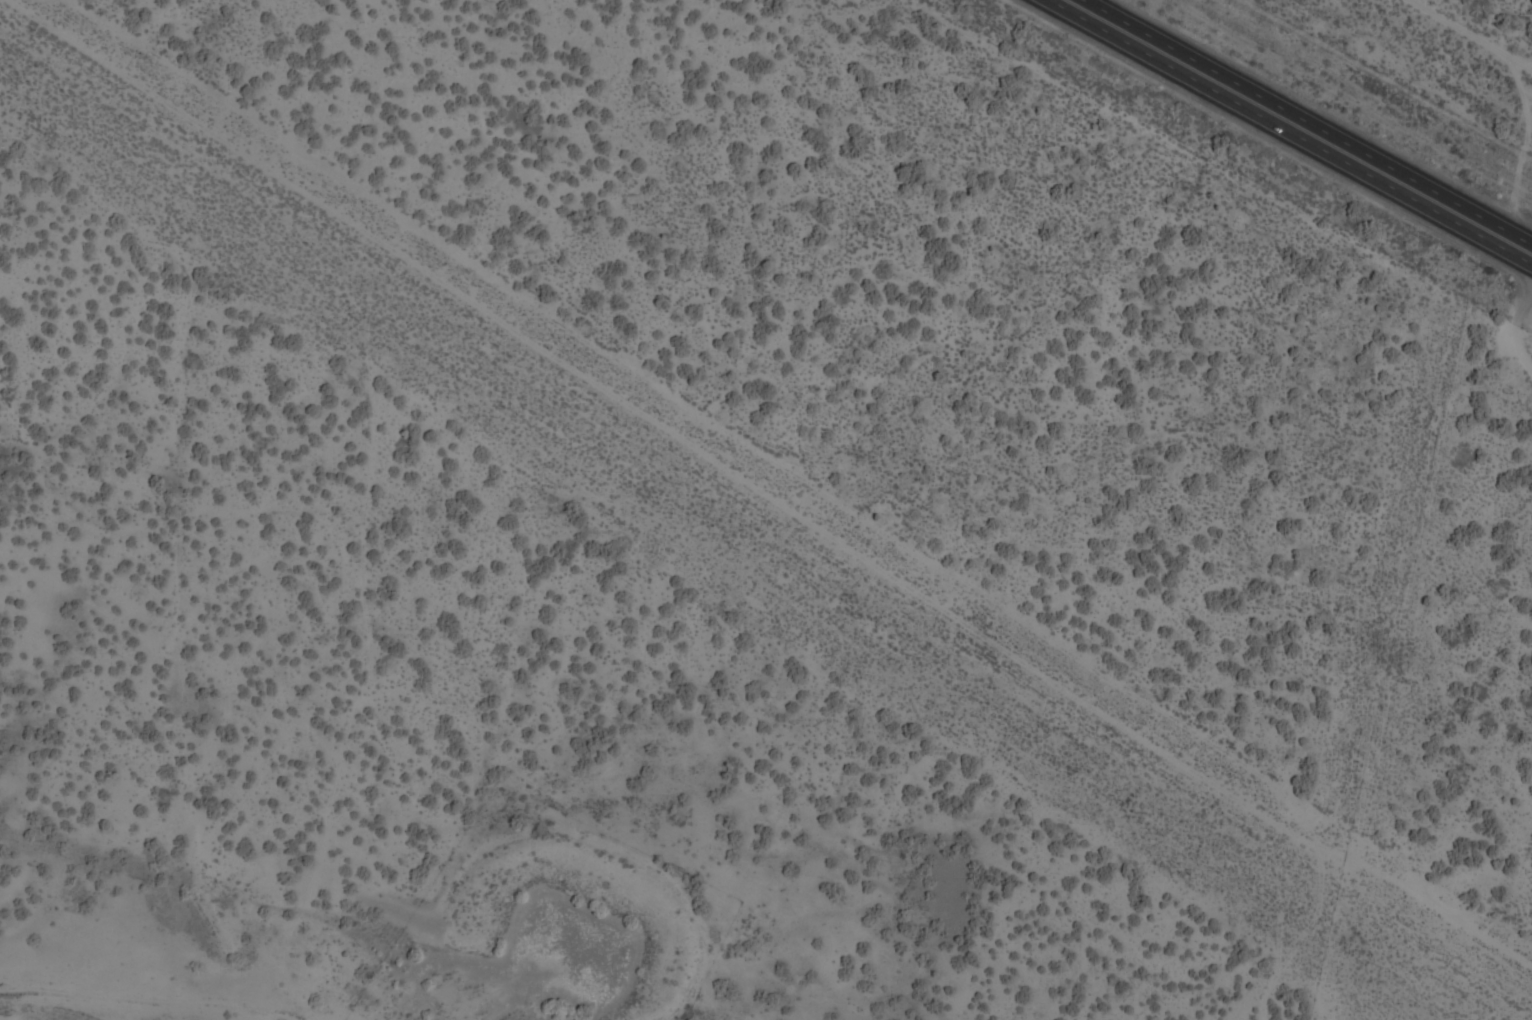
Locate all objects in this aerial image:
road: (1306, 123)
road: (1286, 133)
road: (1520, 333)
building: (580, 980)

